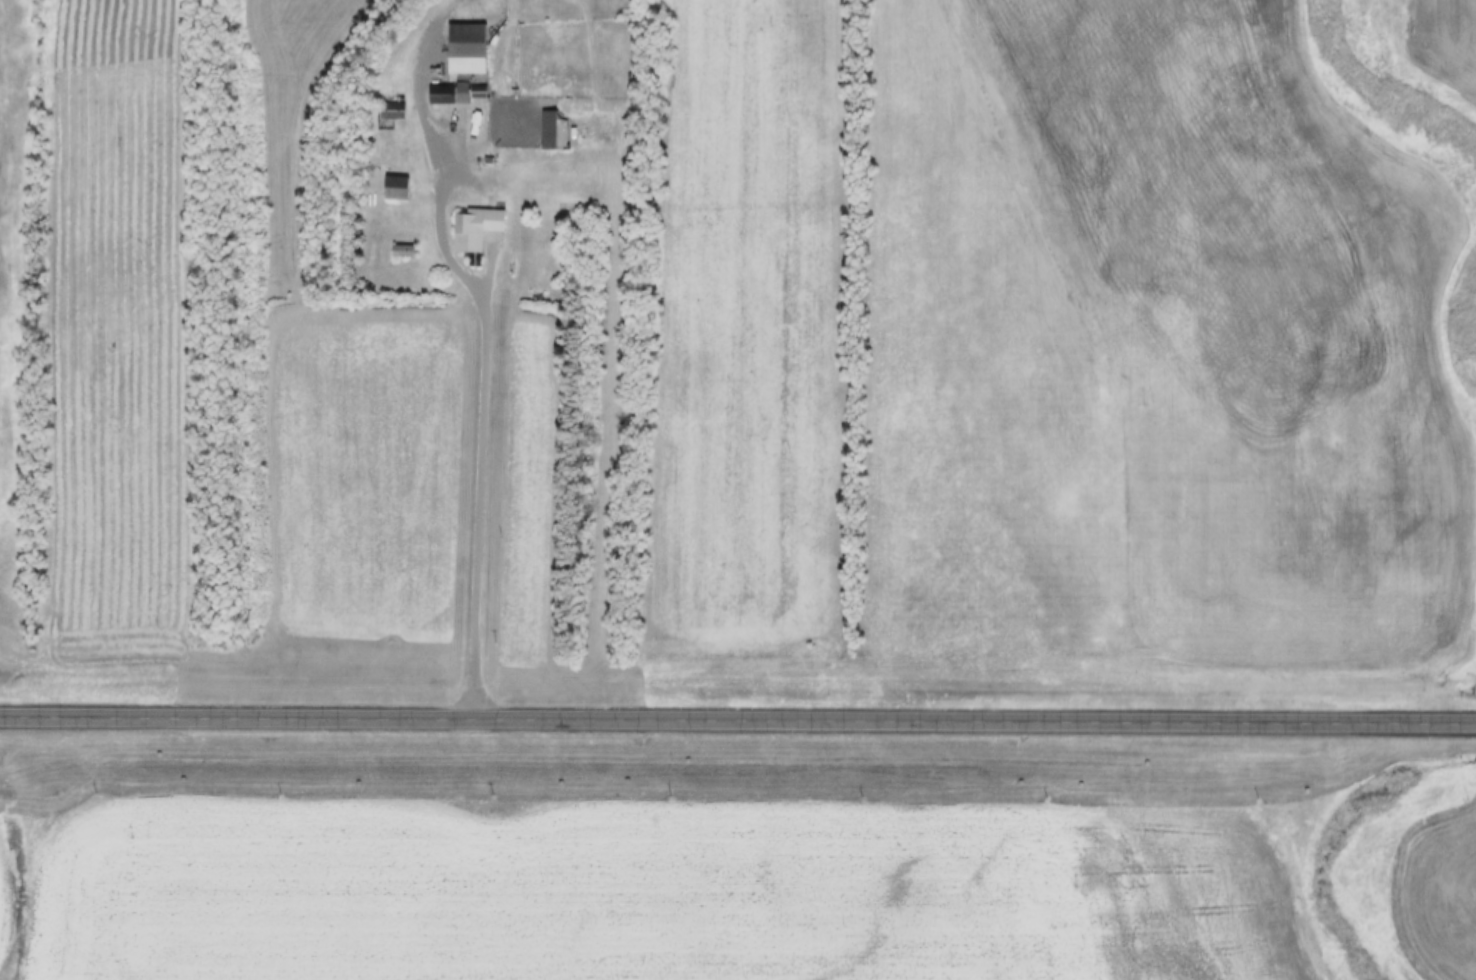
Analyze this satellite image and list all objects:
building: (467, 62)
building: (443, 97)
building: (391, 115)
building: (550, 132)
building: (397, 190)
building: (477, 232)
building: (404, 254)
road: (482, 375)
road: (737, 721)

